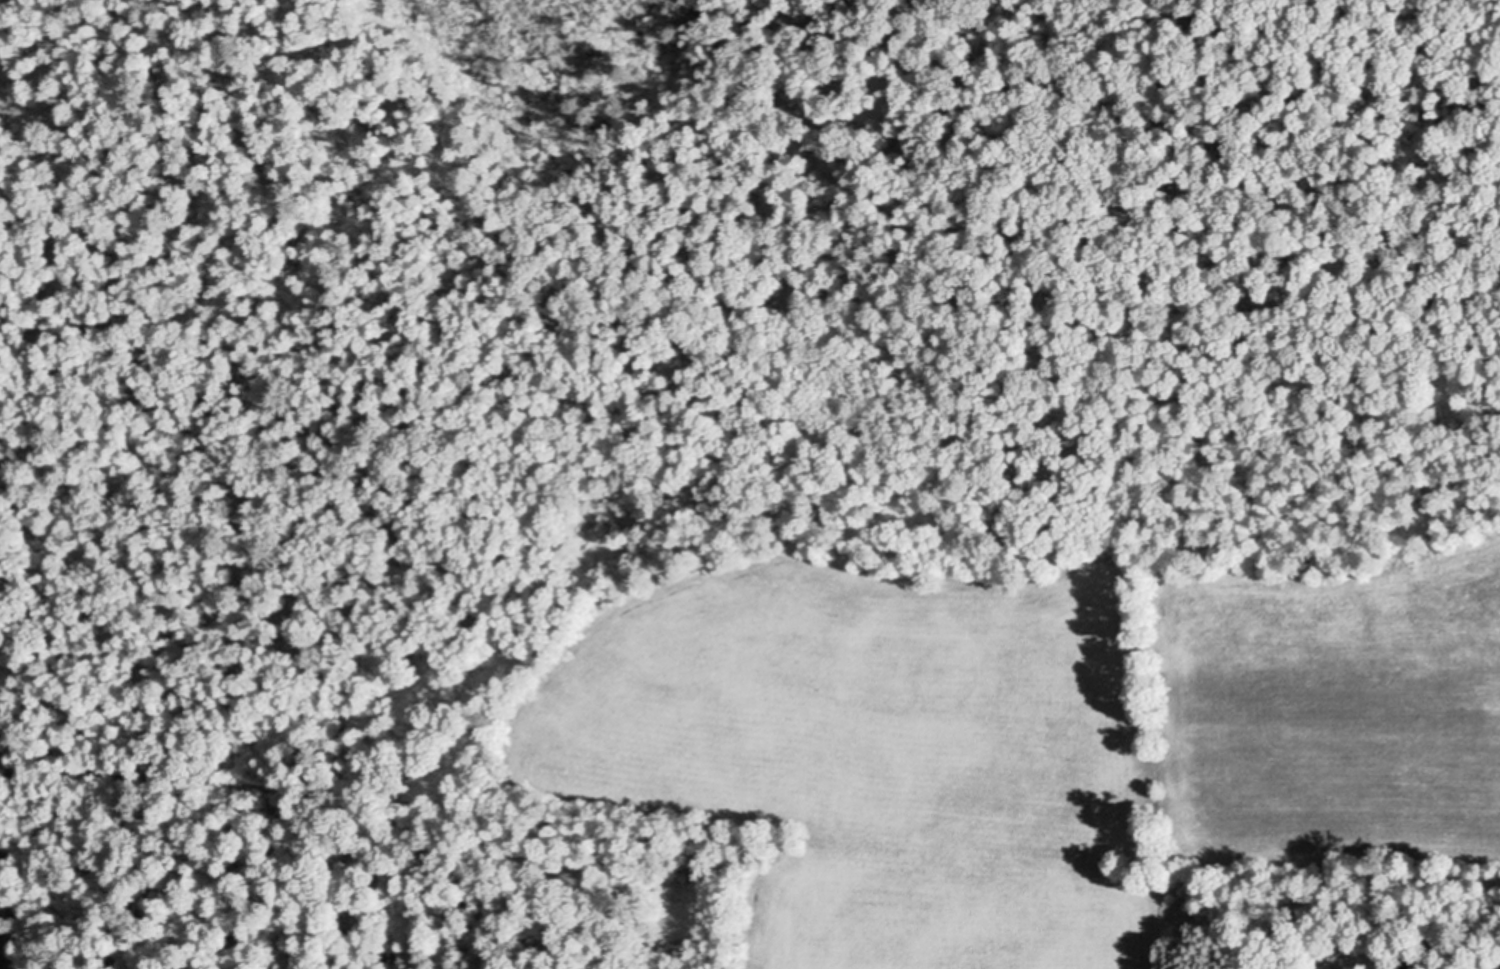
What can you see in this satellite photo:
road: (9, 927)

